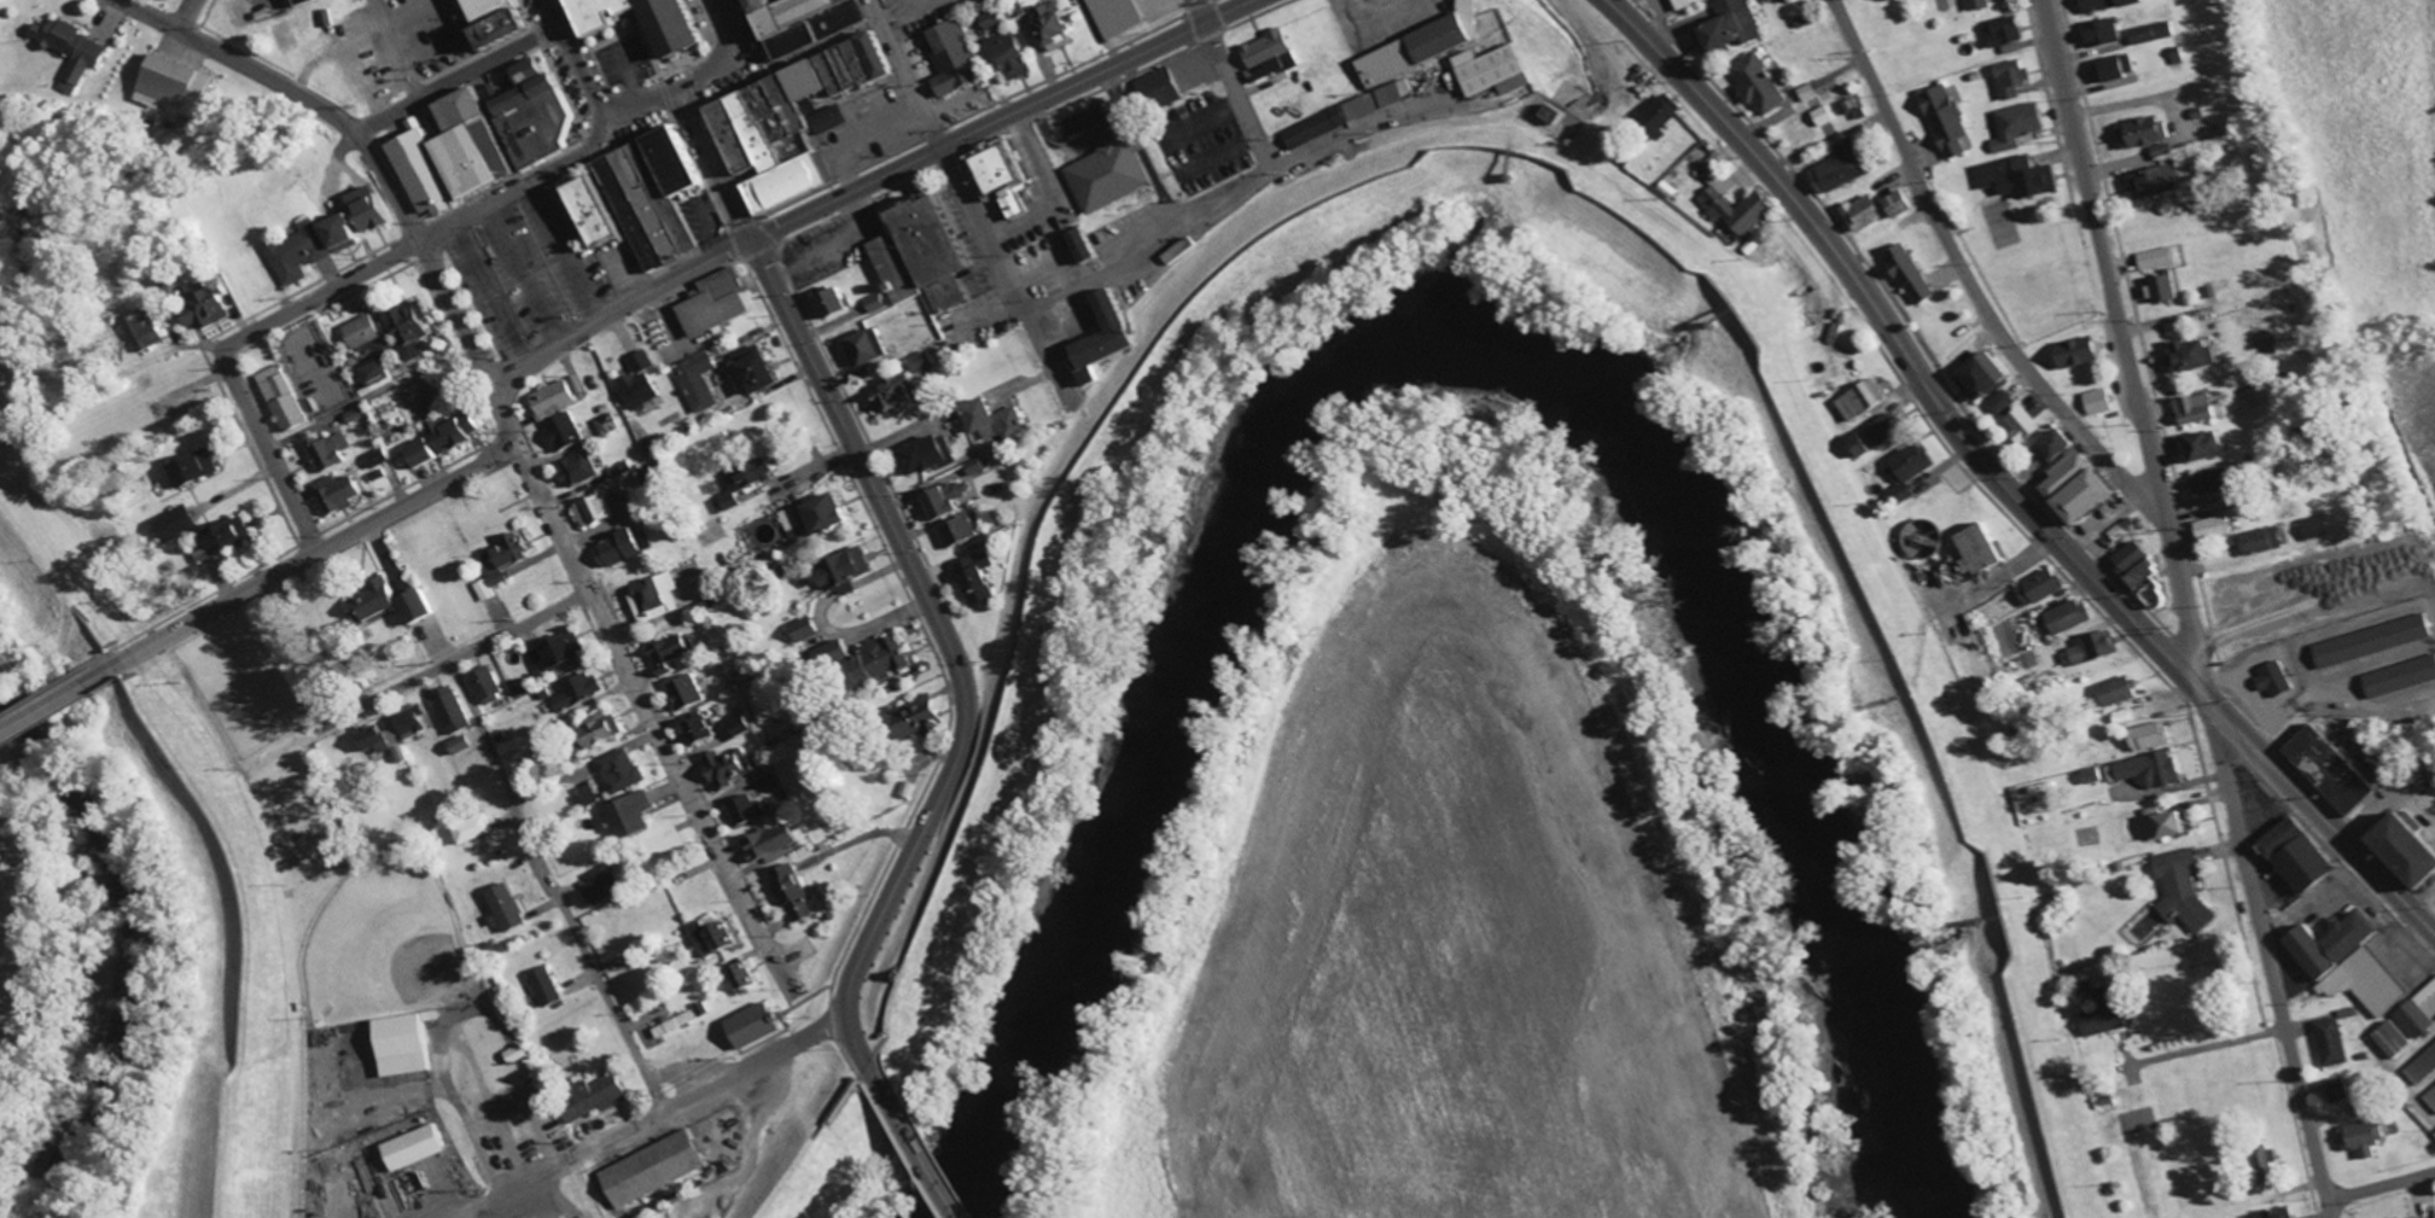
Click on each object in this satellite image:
building: (308, 2)
building: (1691, 4)
building: (2114, 4)
building: (1979, 5)
road: (181, 16)
building: (1118, 17)
building: (503, 21)
building: (814, 22)
building: (1055, 23)
building: (1738, 25)
building: (2006, 31)
building: (683, 33)
building: (2153, 33)
building: (2104, 34)
building: (1426, 47)
road: (392, 49)
building: (72, 51)
road: (722, 54)
building: (1016, 56)
building: (1271, 57)
building: (957, 59)
building: (2115, 69)
building: (1499, 71)
road: (454, 77)
building: (2015, 78)
building: (1764, 84)
building: (177, 87)
road: (589, 88)
building: (1163, 88)
road: (1234, 89)
building: (1353, 113)
building: (1561, 115)
building: (1664, 116)
road: (1000, 120)
building: (1951, 121)
building: (799, 123)
building: (509, 126)
building: (2020, 126)
building: (2149, 135)
building: (1851, 165)
road: (715, 167)
building: (423, 169)
building: (1113, 175)
building: (2022, 177)
building: (1008, 180)
building: (2149, 185)
building: (648, 199)
road: (969, 200)
building: (1906, 204)
building: (369, 209)
building: (1742, 211)
building: (1869, 212)
road: (426, 233)
building: (314, 247)
building: (1088, 247)
building: (926, 256)
building: (2151, 257)
building: (1915, 274)
road: (1974, 281)
building: (2156, 287)
building: (718, 303)
building: (834, 303)
building: (874, 303)
building: (210, 308)
road: (611, 314)
river: (1440, 326)
building: (152, 328)
building: (414, 330)
building: (365, 332)
building: (1108, 340)
building: (867, 349)
building: (2072, 351)
building: (2186, 354)
building: (642, 363)
building: (920, 363)
building: (379, 373)
building: (1977, 373)
building: (759, 374)
building: (697, 381)
building: (640, 390)
building: (891, 396)
building: (555, 398)
building: (1860, 398)
building: (284, 400)
building: (2095, 401)
building: (1998, 402)
building: (2190, 408)
building: (996, 420)
building: (2019, 422)
building: (607, 425)
building: (458, 432)
building: (564, 433)
building: (1874, 435)
road: (513, 437)
building: (2050, 442)
building: (2197, 444)
road: (264, 453)
building: (331, 453)
building: (425, 454)
building: (930, 456)
building: (379, 458)
building: (197, 468)
building: (579, 470)
building: (1906, 470)
building: (619, 471)
building: (2058, 472)
building: (654, 474)
road: (2002, 480)
building: (2204, 482)
building: (736, 486)
building: (342, 496)
building: (2078, 496)
building: (949, 500)
building: (595, 512)
building: (828, 514)
building: (177, 524)
building: (2208, 526)
building: (2309, 526)
building: (959, 532)
building: (231, 537)
building: (2255, 540)
building: (1973, 548)
building: (619, 549)
building: (2126, 555)
building: (205, 556)
building: (502, 565)
building: (845, 570)
building: (2137, 572)
building: (975, 578)
road: (264, 579)
building: (2037, 587)
building: (654, 599)
building: (375, 602)
building: (421, 606)
road: (2189, 608)
building: (2064, 617)
building: (805, 629)
building: (2366, 640)
building: (2090, 647)
building: (555, 653)
building: (671, 653)
building: (868, 658)
road: (455, 660)
building: (2398, 676)
building: (2270, 678)
building: (489, 686)
building: (2113, 690)
building: (578, 692)
building: (686, 694)
building: (453, 710)
building: (922, 716)
building: (414, 724)
building: (741, 727)
building: (606, 729)
building: (697, 730)
road: (954, 735)
building: (2145, 735)
building: (461, 745)
building: (2148, 769)
building: (2324, 769)
building: (727, 770)
building: (621, 771)
building: (770, 785)
building: (589, 796)
building: (747, 811)
building: (633, 817)
building: (2163, 823)
building: (476, 829)
building: (769, 844)
building: (2291, 855)
building: (605, 884)
road: (553, 887)
building: (2179, 890)
building: (792, 892)
building: (508, 908)
building: (711, 939)
building: (2326, 943)
building: (744, 978)
building: (2364, 981)
building: (546, 986)
building: (2411, 1018)
building: (2101, 1020)
building: (676, 1024)
building: (757, 1025)
building: (2389, 1039)
building: (2328, 1042)
building: (407, 1044)
road: (2209, 1045)
building: (517, 1054)
building: (2421, 1065)
building: (2334, 1089)
building: (2430, 1097)
building: (598, 1098)
road: (659, 1111)
building: (2434, 1135)
building: (2358, 1137)
building: (416, 1148)
building: (657, 1167)
road: (2381, 1185)
building: (2272, 1213)
building: (2421, 1217)

